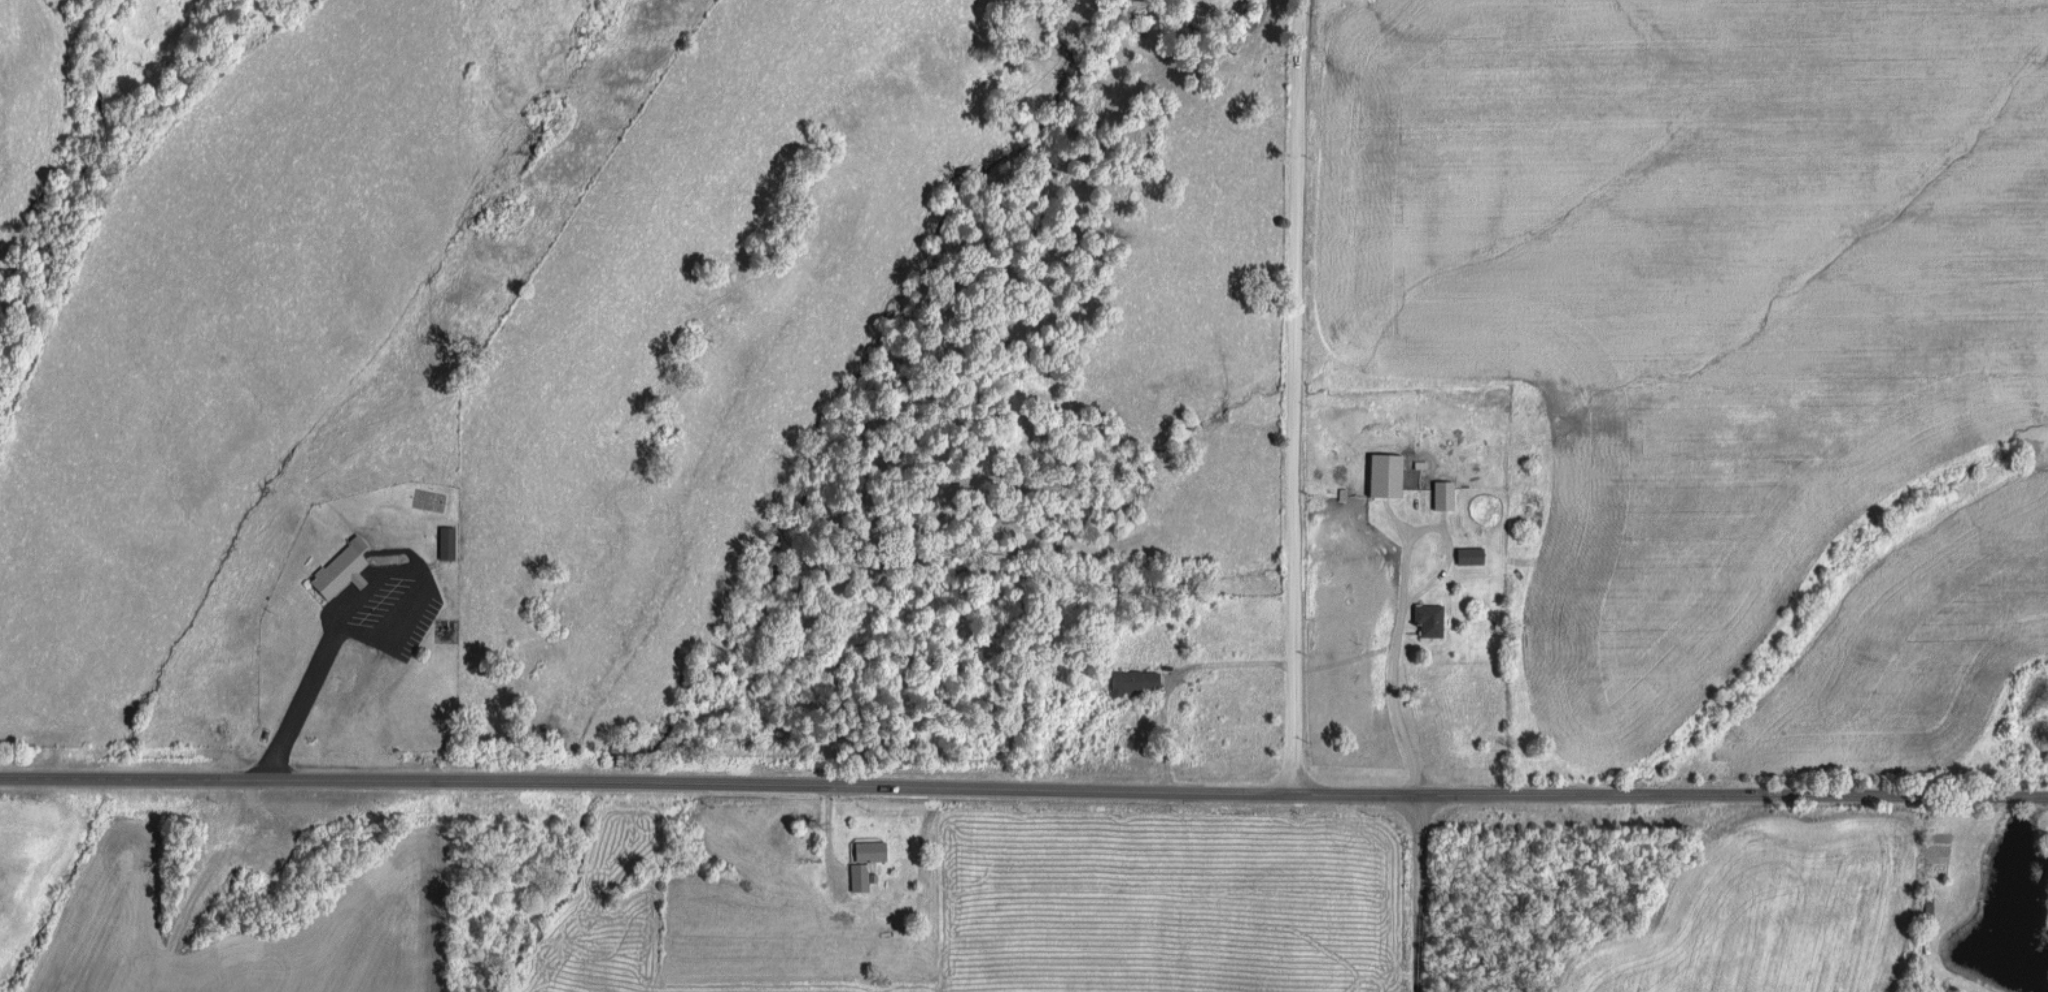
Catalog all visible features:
road: (1299, 398)
building: (1382, 474)
building: (1441, 494)
building: (444, 541)
building: (356, 542)
building: (1467, 555)
building: (337, 571)
building: (1427, 619)
building: (1130, 681)
road: (1023, 794)
building: (862, 863)
road: (1410, 895)

